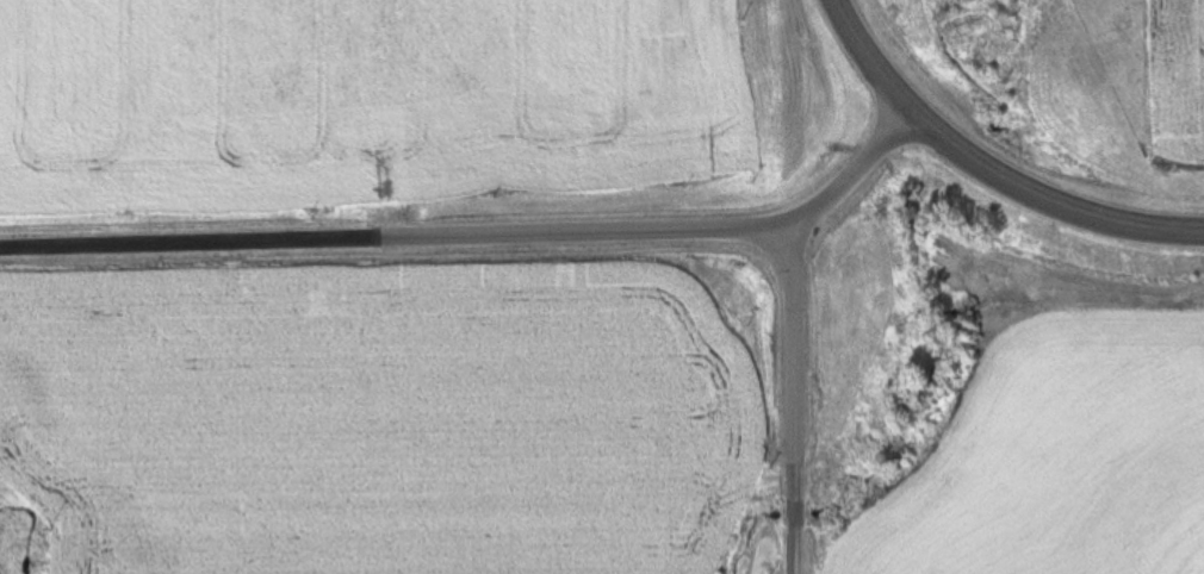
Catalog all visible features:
road: (874, 58)
road: (1049, 199)
road: (484, 241)
road: (793, 404)

